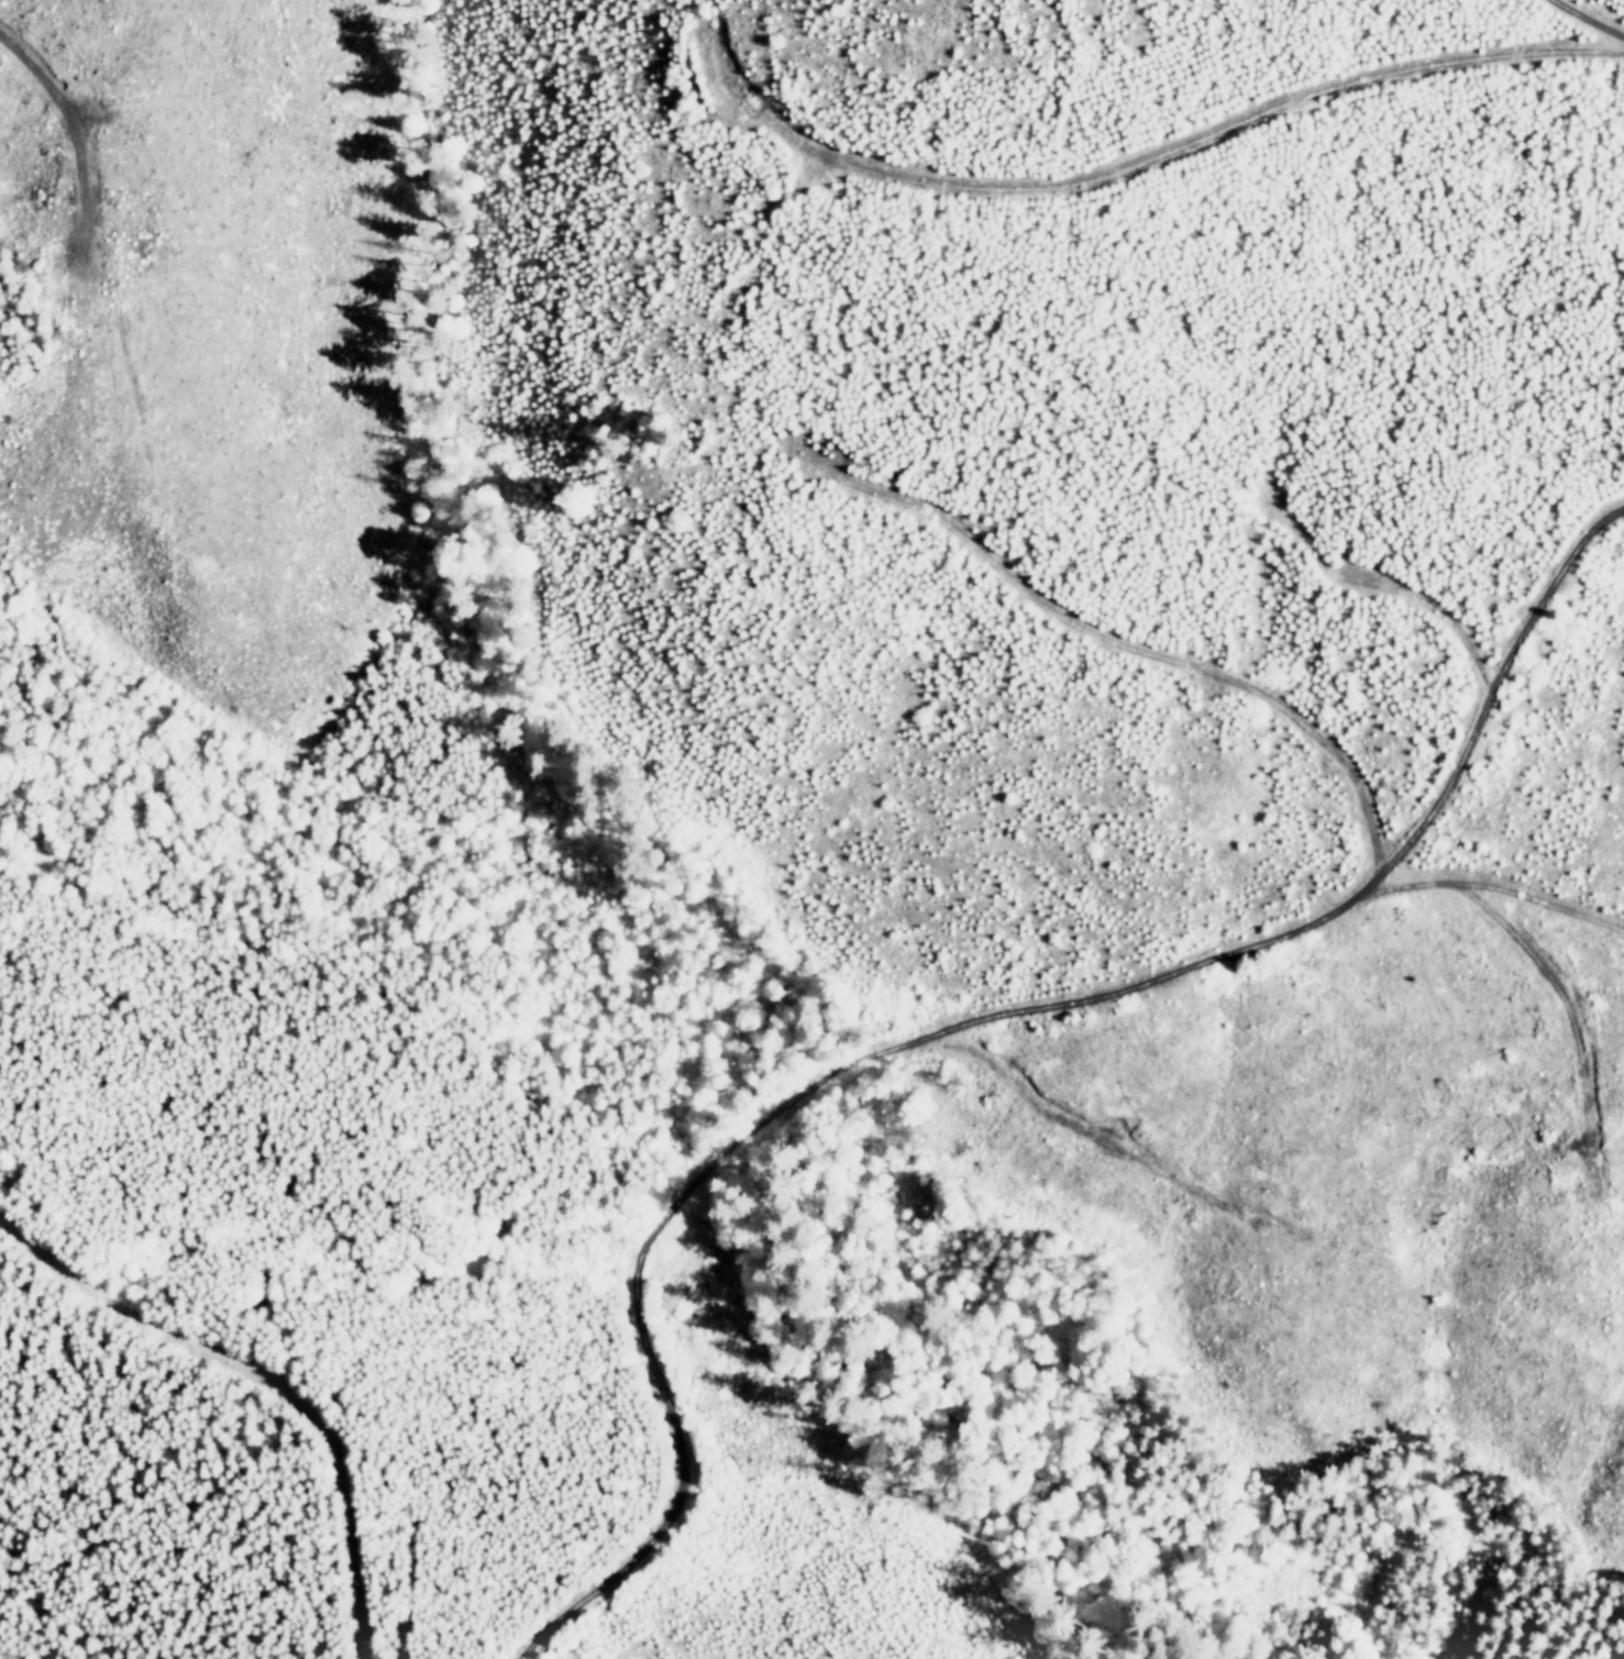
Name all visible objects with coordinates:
road: (267, 1376)

